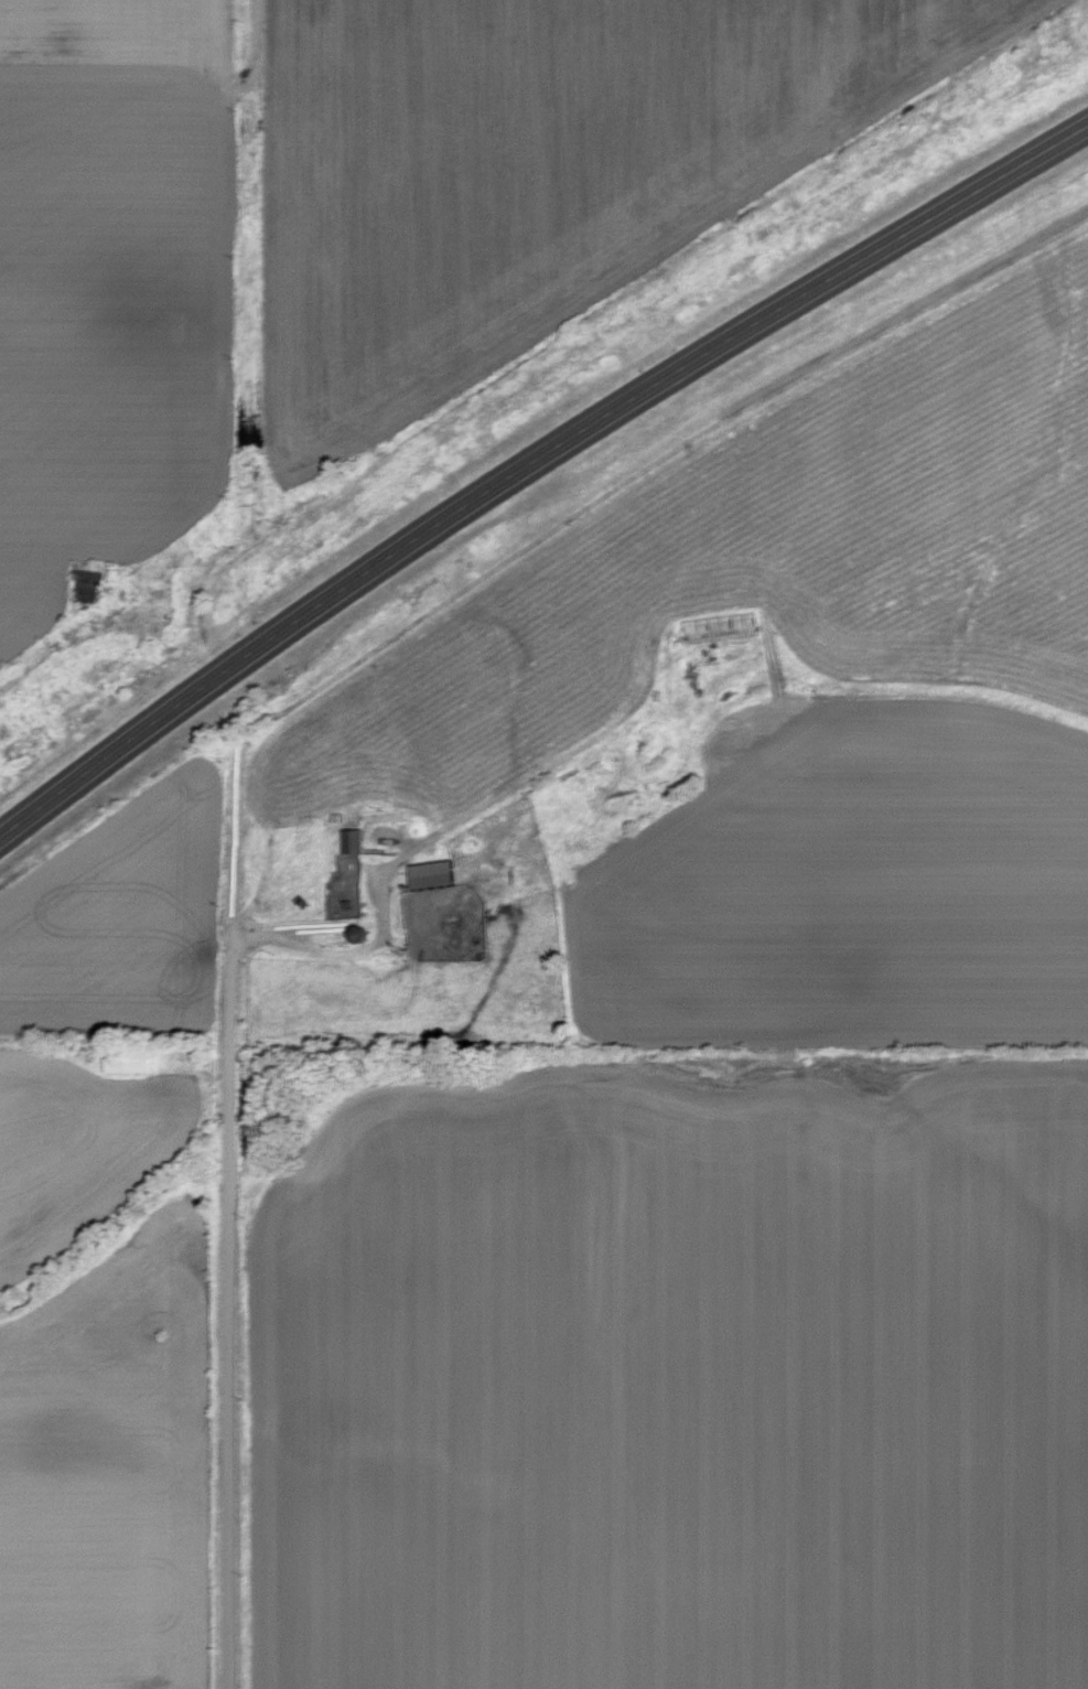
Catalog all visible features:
road: (233, 241)
road: (532, 469)
building: (357, 840)
building: (440, 873)
building: (134, 1058)
road: (231, 1077)

